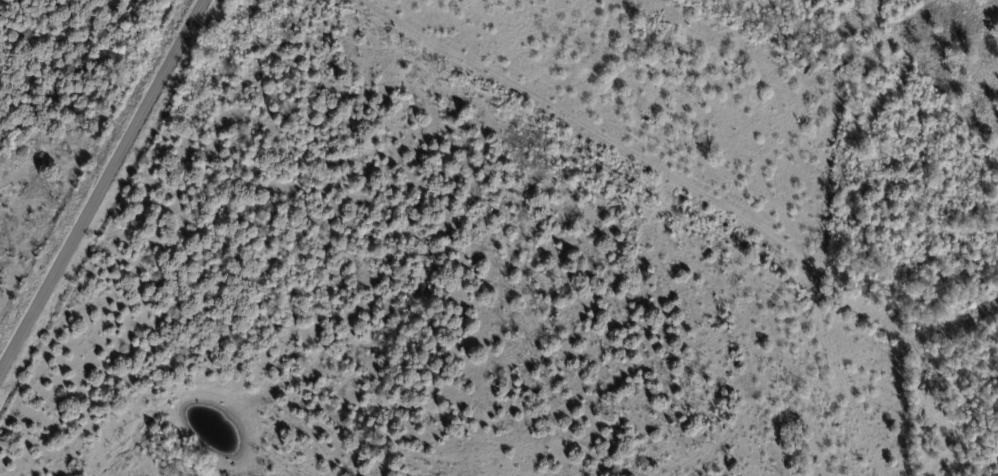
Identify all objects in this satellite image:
building: (845, 57)
building: (808, 70)
road: (104, 190)

